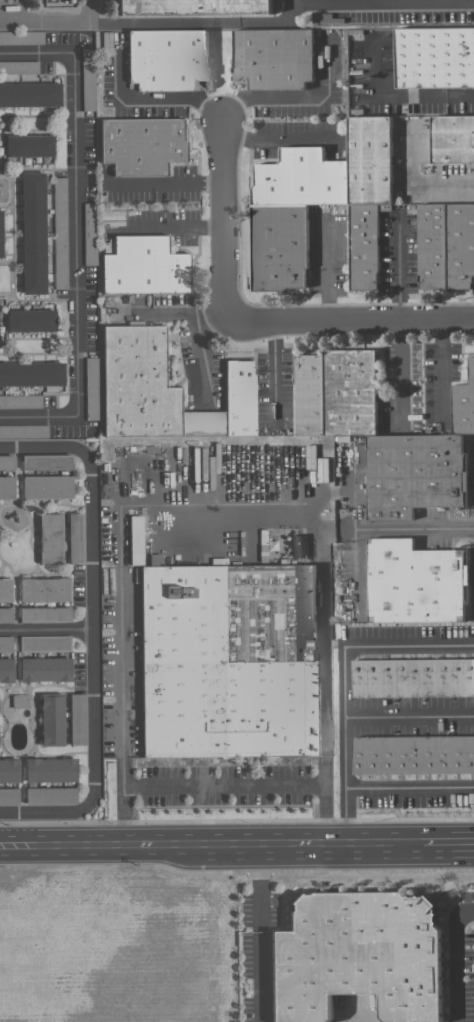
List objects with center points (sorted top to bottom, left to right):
road: (450, 2)
road: (383, 4)
building: (195, 9)
parking lot: (54, 10)
road: (198, 20)
road: (56, 23)
building: (21, 37)
building: (273, 57)
building: (435, 57)
building: (166, 58)
building: (18, 67)
building: (89, 80)
road: (403, 93)
building: (30, 94)
road: (294, 97)
road: (157, 98)
building: (452, 138)
road: (279, 139)
building: (141, 144)
building: (28, 145)
road: (416, 182)
road: (171, 184)
building: (290, 203)
road: (226, 223)
road: (135, 229)
road: (196, 229)
building: (32, 232)
building: (59, 232)
building: (88, 234)
road: (77, 238)
building: (0, 241)
building: (445, 244)
building: (143, 266)
road: (404, 269)
road: (327, 272)
road: (168, 316)
building: (30, 320)
road: (350, 321)
road: (199, 350)
road: (441, 369)
road: (403, 371)
building: (31, 373)
building: (90, 387)
building: (164, 390)
building: (20, 400)
building: (463, 402)
building: (23, 430)
building: (376, 434)
road: (45, 450)
building: (6, 462)
building: (46, 462)
building: (6, 487)
building: (46, 487)
road: (216, 500)
road: (378, 529)
building: (50, 538)
building: (75, 538)
building: (135, 540)
building: (296, 546)
building: (414, 582)
building: (5, 590)
building: (44, 590)
building: (5, 615)
building: (44, 615)
road: (91, 631)
road: (46, 632)
building: (44, 642)
building: (5, 643)
building: (227, 660)
building: (44, 669)
building: (6, 670)
building: (412, 677)
building: (19, 701)
road: (408, 717)
road: (342, 718)
building: (77, 719)
building: (51, 720)
building: (413, 754)
building: (50, 770)
building: (8, 771)
road: (222, 785)
building: (8, 796)
building: (50, 796)
road: (47, 812)
road: (342, 815)
road: (18, 844)
road: (114, 844)
road: (218, 844)
road: (261, 844)
road: (350, 844)
road: (448, 844)
road: (257, 933)
building: (358, 956)
road: (455, 960)

